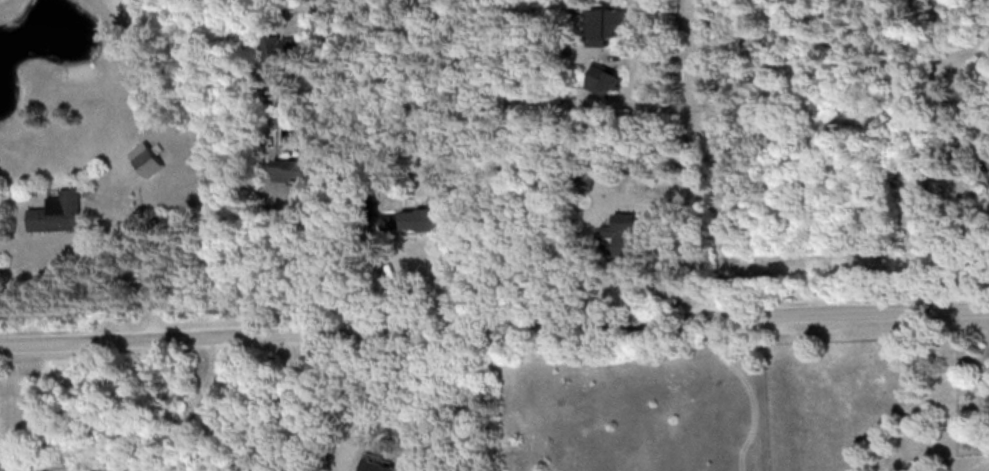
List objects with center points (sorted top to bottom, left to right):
building: (608, 25)
building: (285, 45)
building: (605, 78)
building: (146, 157)
road: (693, 158)
road: (987, 168)
building: (292, 170)
building: (584, 178)
building: (58, 212)
building: (422, 216)
building: (620, 234)
road: (143, 254)
road: (494, 323)
road: (979, 392)
road: (292, 400)
road: (194, 402)
building: (379, 464)

